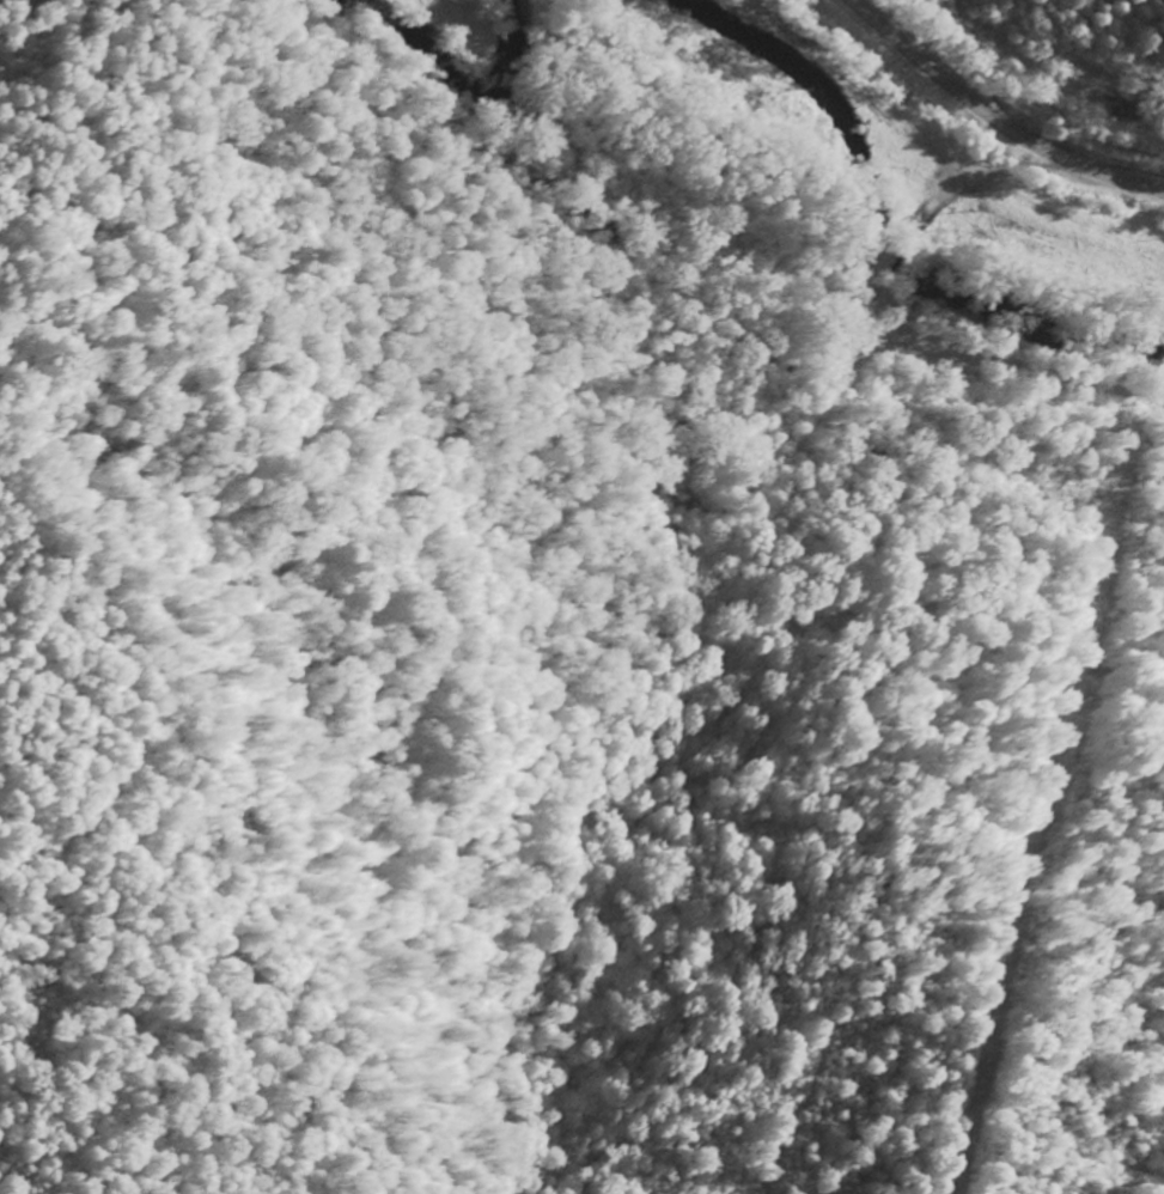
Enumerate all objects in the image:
road: (998, 115)
road: (468, 127)
road: (870, 323)

